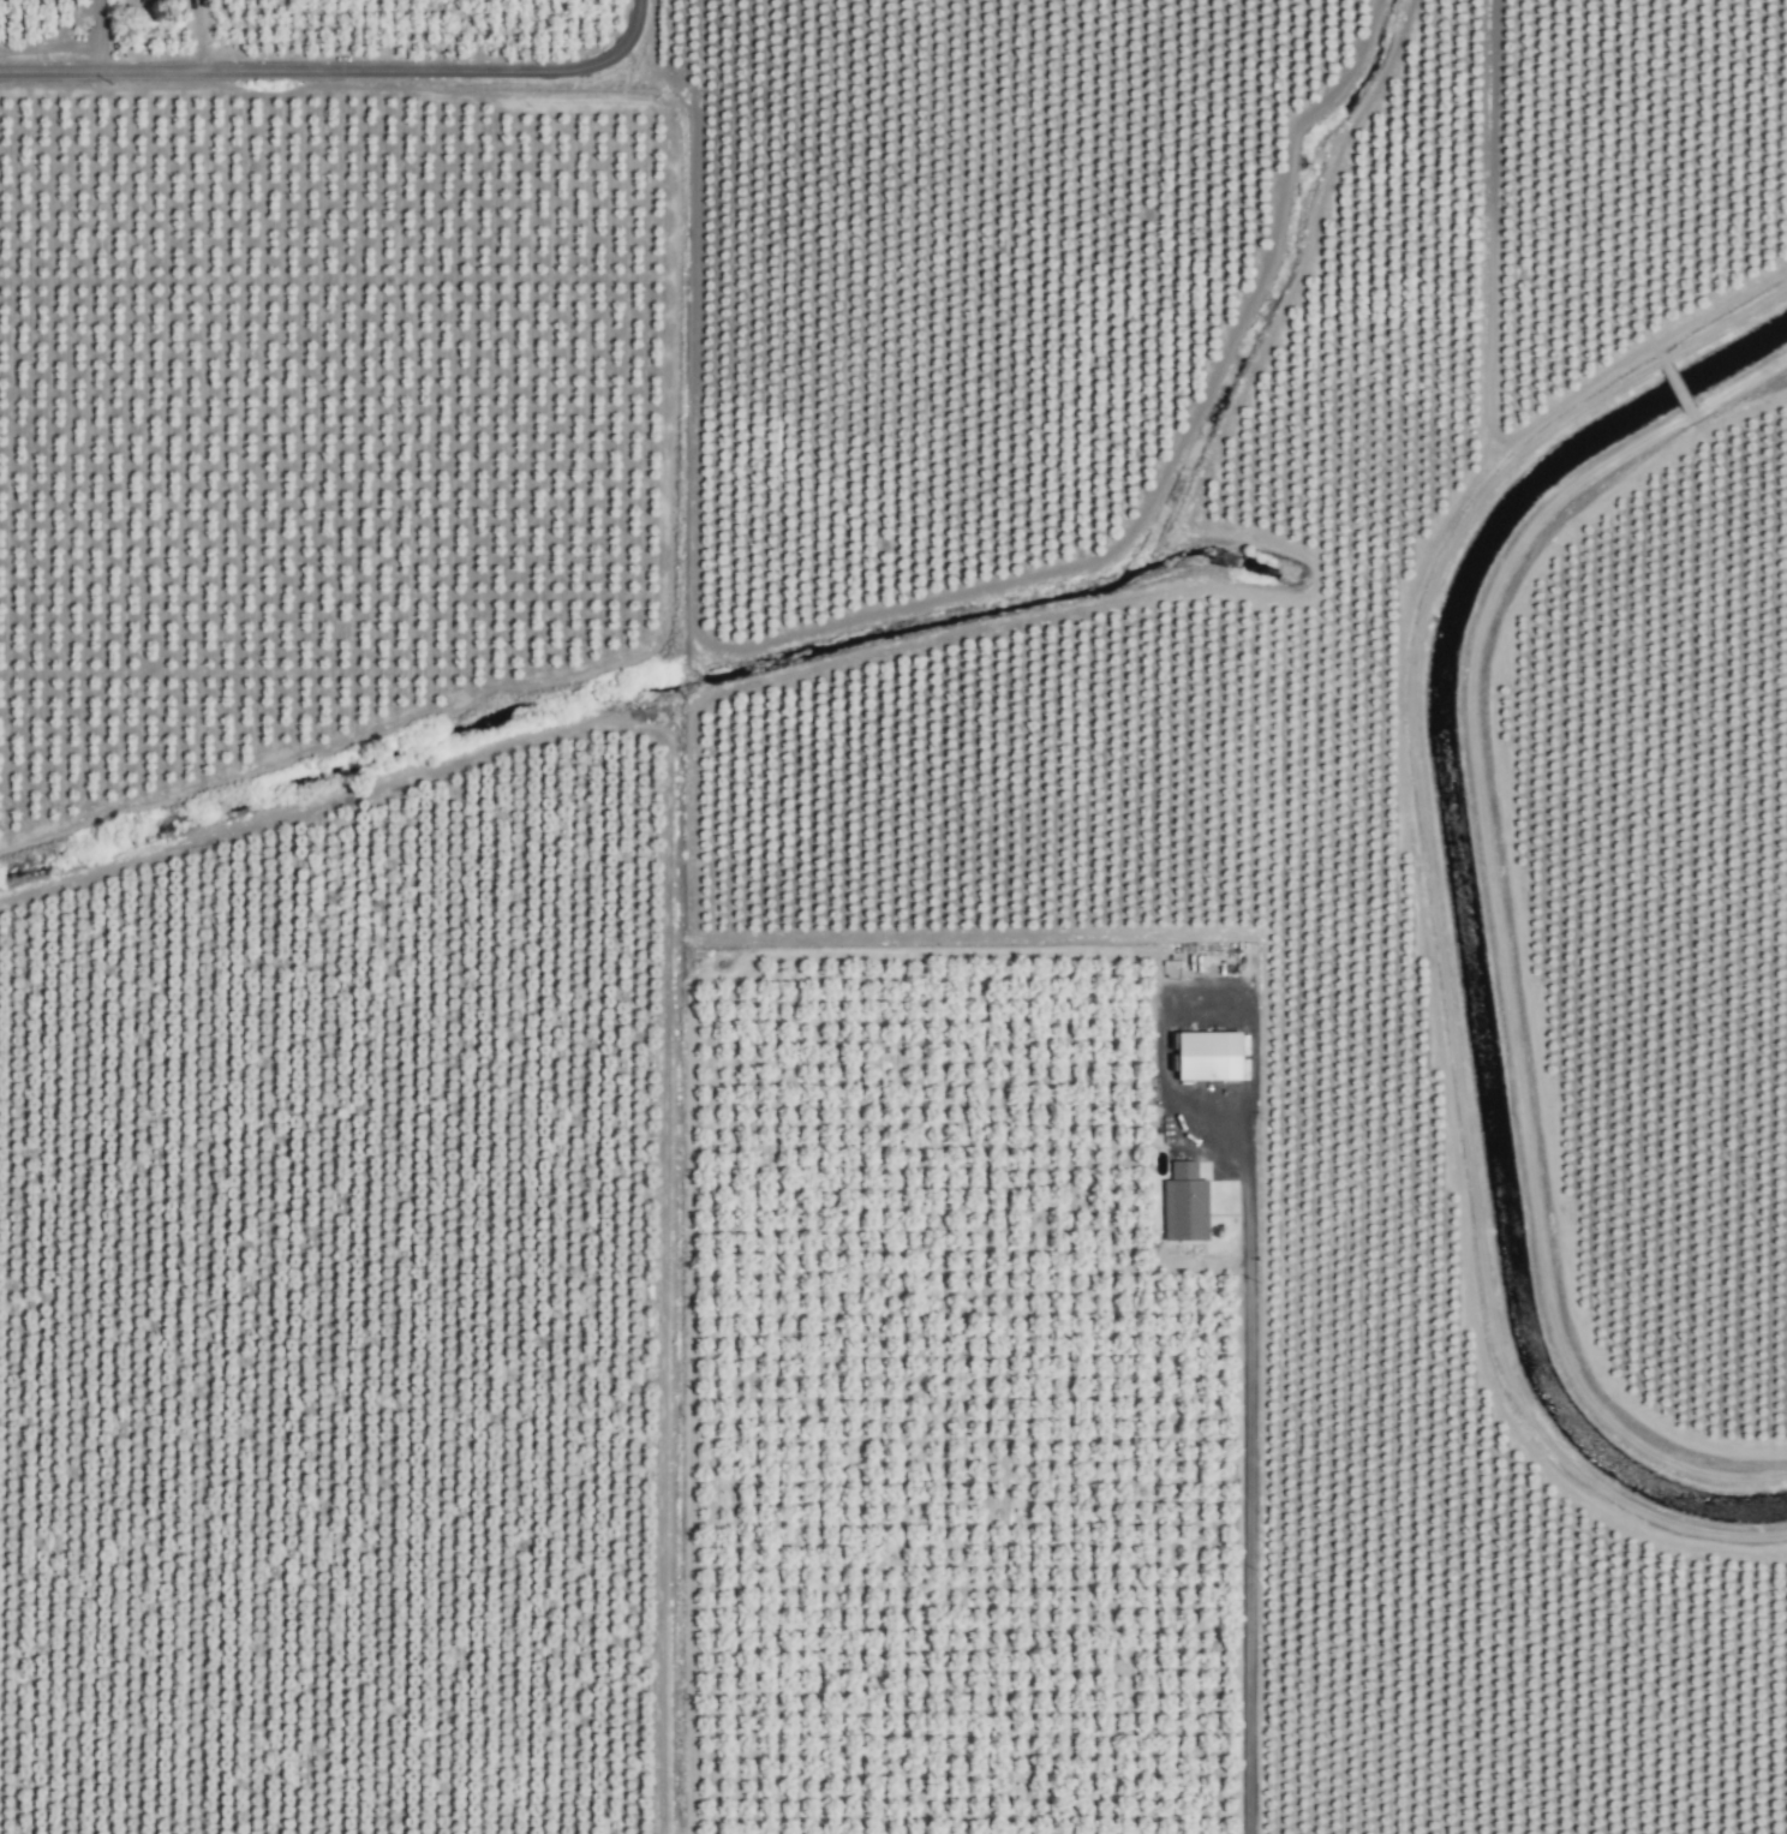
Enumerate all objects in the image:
building: (155, 1)
road: (340, 72)
wastewater plant: (1016, 864)
building: (1202, 1056)
building: (1182, 1206)
road: (1248, 1458)

